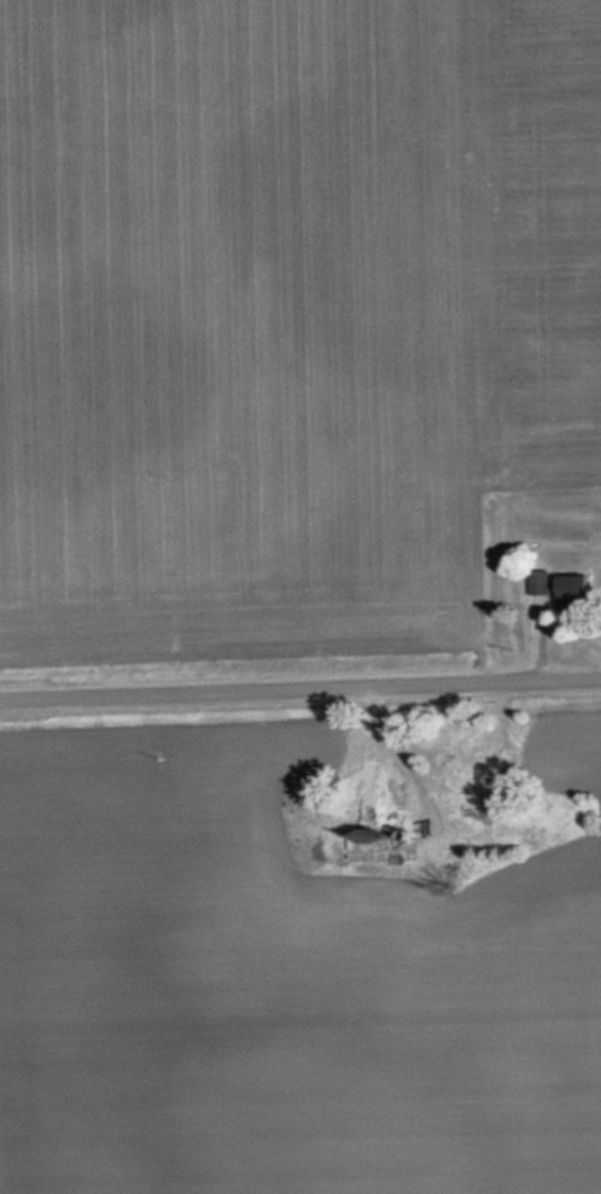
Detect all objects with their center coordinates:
building: (559, 589)
road: (300, 688)

